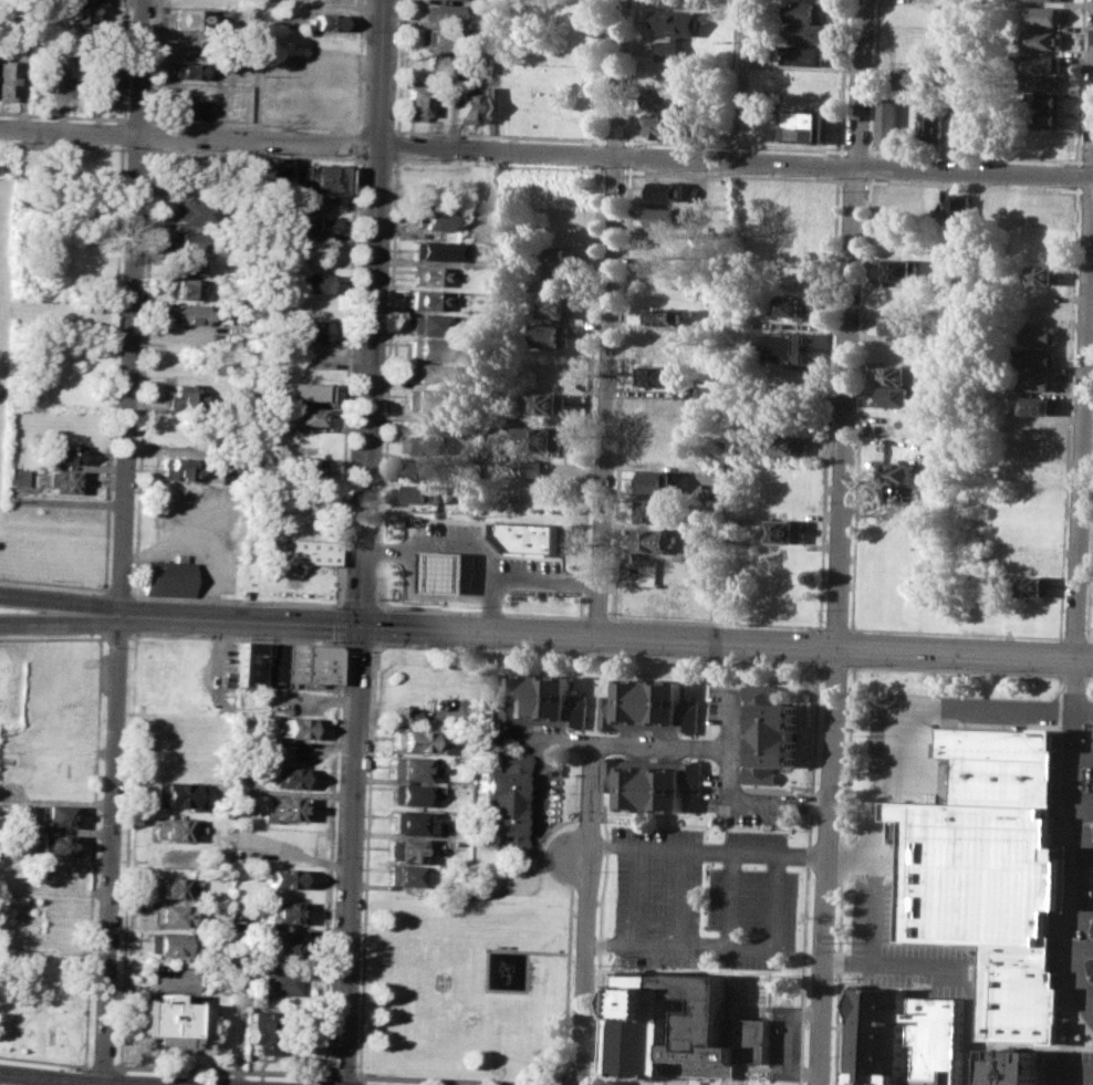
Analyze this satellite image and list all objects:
building: (1058, 0)
building: (675, 3)
building: (562, 6)
building: (806, 10)
building: (79, 13)
building: (443, 13)
building: (1043, 15)
building: (191, 19)
building: (329, 22)
building: (674, 22)
building: (813, 32)
building: (449, 39)
building: (1043, 39)
building: (666, 50)
building: (759, 51)
building: (808, 54)
building: (914, 56)
building: (457, 60)
building: (1042, 62)
building: (490, 64)
road: (22, 65)
road: (358, 66)
road: (398, 66)
building: (189, 70)
road: (602, 70)
road: (634, 70)
road: (257, 71)
building: (662, 73)
road: (841, 75)
road: (873, 76)
building: (914, 80)
road: (1081, 80)
building: (8, 81)
road: (735, 81)
building: (1041, 82)
building: (106, 84)
road: (978, 85)
building: (663, 98)
building: (1044, 100)
building: (415, 102)
building: (464, 102)
building: (440, 103)
building: (485, 104)
building: (187, 107)
road: (118, 116)
building: (1043, 118)
building: (887, 122)
building: (961, 123)
building: (665, 124)
building: (809, 125)
building: (933, 125)
road: (500, 134)
road: (189, 138)
road: (615, 139)
road: (600, 142)
road: (355, 143)
road: (631, 143)
road: (396, 144)
road: (733, 145)
road: (855, 149)
road: (600, 154)
road: (974, 154)
road: (631, 155)
road: (396, 157)
road: (1087, 160)
road: (736, 163)
road: (1078, 163)
road: (837, 164)
road: (870, 165)
road: (614, 169)
road: (731, 174)
road: (1078, 175)
building: (272, 177)
building: (325, 179)
road: (852, 179)
road: (971, 184)
building: (665, 189)
road: (1086, 190)
building: (961, 205)
building: (194, 211)
building: (436, 216)
building: (664, 216)
building: (316, 223)
building: (901, 231)
building: (189, 238)
building: (437, 248)
building: (504, 253)
building: (559, 254)
building: (188, 263)
building: (899, 268)
building: (1042, 273)
building: (428, 274)
road: (392, 277)
building: (550, 279)
building: (315, 281)
building: (188, 286)
building: (499, 286)
building: (427, 298)
building: (794, 304)
building: (556, 305)
road: (133, 307)
building: (188, 314)
building: (662, 314)
road: (608, 319)
building: (897, 322)
building: (429, 324)
building: (312, 330)
building: (553, 333)
building: (1040, 333)
building: (789, 345)
building: (427, 346)
building: (1038, 357)
building: (426, 372)
building: (662, 373)
building: (898, 374)
road: (345, 379)
building: (1039, 380)
road: (590, 388)
building: (688, 389)
building: (302, 390)
road: (622, 390)
building: (186, 394)
building: (897, 394)
building: (424, 398)
road: (827, 400)
building: (548, 401)
road: (860, 401)
building: (1040, 403)
road: (1082, 409)
road: (1069, 410)
building: (498, 413)
building: (310, 415)
building: (542, 436)
building: (427, 442)
building: (787, 442)
building: (67, 452)
building: (305, 465)
building: (531, 466)
building: (176, 468)
building: (425, 469)
building: (901, 470)
building: (15, 476)
building: (65, 479)
building: (655, 479)
building: (425, 492)
building: (653, 509)
building: (785, 529)
building: (527, 536)
building: (653, 539)
road: (364, 542)
road: (841, 542)
building: (310, 550)
road: (480, 557)
building: (1037, 559)
building: (649, 570)
building: (444, 571)
building: (167, 578)
road: (1090, 578)
road: (53, 583)
building: (1034, 585)
road: (119, 592)
road: (428, 594)
street lamp: (377, 597)
road: (235, 599)
road: (59, 603)
road: (490, 604)
road: (376, 605)
road: (481, 611)
road: (596, 616)
road: (59, 618)
road: (715, 620)
road: (336, 623)
road: (834, 626)
traffic signals: (361, 627)
road: (955, 632)
street lamp: (159, 633)
road: (117, 635)
road: (101, 636)
road: (1074, 636)
road: (236, 637)
road: (1089, 637)
road: (605, 638)
street lamp: (131, 639)
street lamp: (320, 639)
road: (375, 643)
street lamp: (408, 643)
road: (356, 644)
street lamp: (473, 646)
street lamp: (561, 649)
street lamp: (342, 653)
road: (596, 653)
street lamp: (633, 653)
road: (1089, 656)
street lamp: (715, 657)
street lamp: (788, 660)
building: (318, 663)
building: (250, 664)
building: (291, 664)
road: (834, 664)
street lamp: (856, 664)
building: (274, 665)
road: (849, 665)
street lamp: (924, 666)
street lamp: (999, 669)
road: (1072, 672)
road: (1091, 674)
building: (538, 701)
building: (649, 707)
road: (1082, 711)
building: (407, 716)
building: (293, 727)
road: (910, 727)
building: (768, 733)
building: (410, 741)
road: (569, 741)
street lamp: (337, 754)
road: (847, 754)
building: (408, 768)
building: (287, 776)
building: (650, 783)
road: (535, 787)
building: (176, 794)
road: (729, 794)
building: (407, 795)
road: (94, 801)
building: (502, 801)
road: (1081, 803)
building: (283, 807)
building: (55, 815)
building: (408, 822)
building: (173, 828)
building: (55, 843)
street lamp: (121, 844)
road: (290, 844)
road: (111, 849)
road: (128, 849)
building: (407, 849)
road: (708, 849)
road: (1081, 849)
road: (581, 855)
road: (1069, 855)
road: (331, 856)
street lamp: (333, 856)
road: (366, 859)
parking lot: (1075, 859)
building: (989, 870)
road: (808, 874)
building: (404, 875)
building: (281, 877)
building: (167, 887)
road: (1081, 894)
parking lot: (706, 898)
road: (873, 906)
road: (601, 911)
building: (282, 912)
road: (585, 914)
building: (169, 916)
road: (733, 925)
road: (778, 925)
road: (1080, 940)
building: (166, 942)
road: (658, 946)
building: (282, 947)
street lamp: (116, 951)
road: (847, 962)
road: (486, 968)
road: (967, 980)
building: (280, 981)
road: (566, 984)
road: (1084, 991)
park: (465, 992)
building: (160, 1019)
building: (683, 1029)
building: (260, 1031)
building: (883, 1037)
building: (941, 1040)
road: (788, 1041)
road: (44, 1060)
street lamp: (114, 1061)
street lamp: (591, 1063)
street lamp: (326, 1064)
road: (101, 1066)
building: (1012, 1066)
parking lot: (1070, 1067)
street lamp: (75, 1068)
road: (220, 1068)
road: (1072, 1072)
street lamp: (361, 1073)
road: (341, 1074)
road: (32, 1077)
road: (461, 1079)

